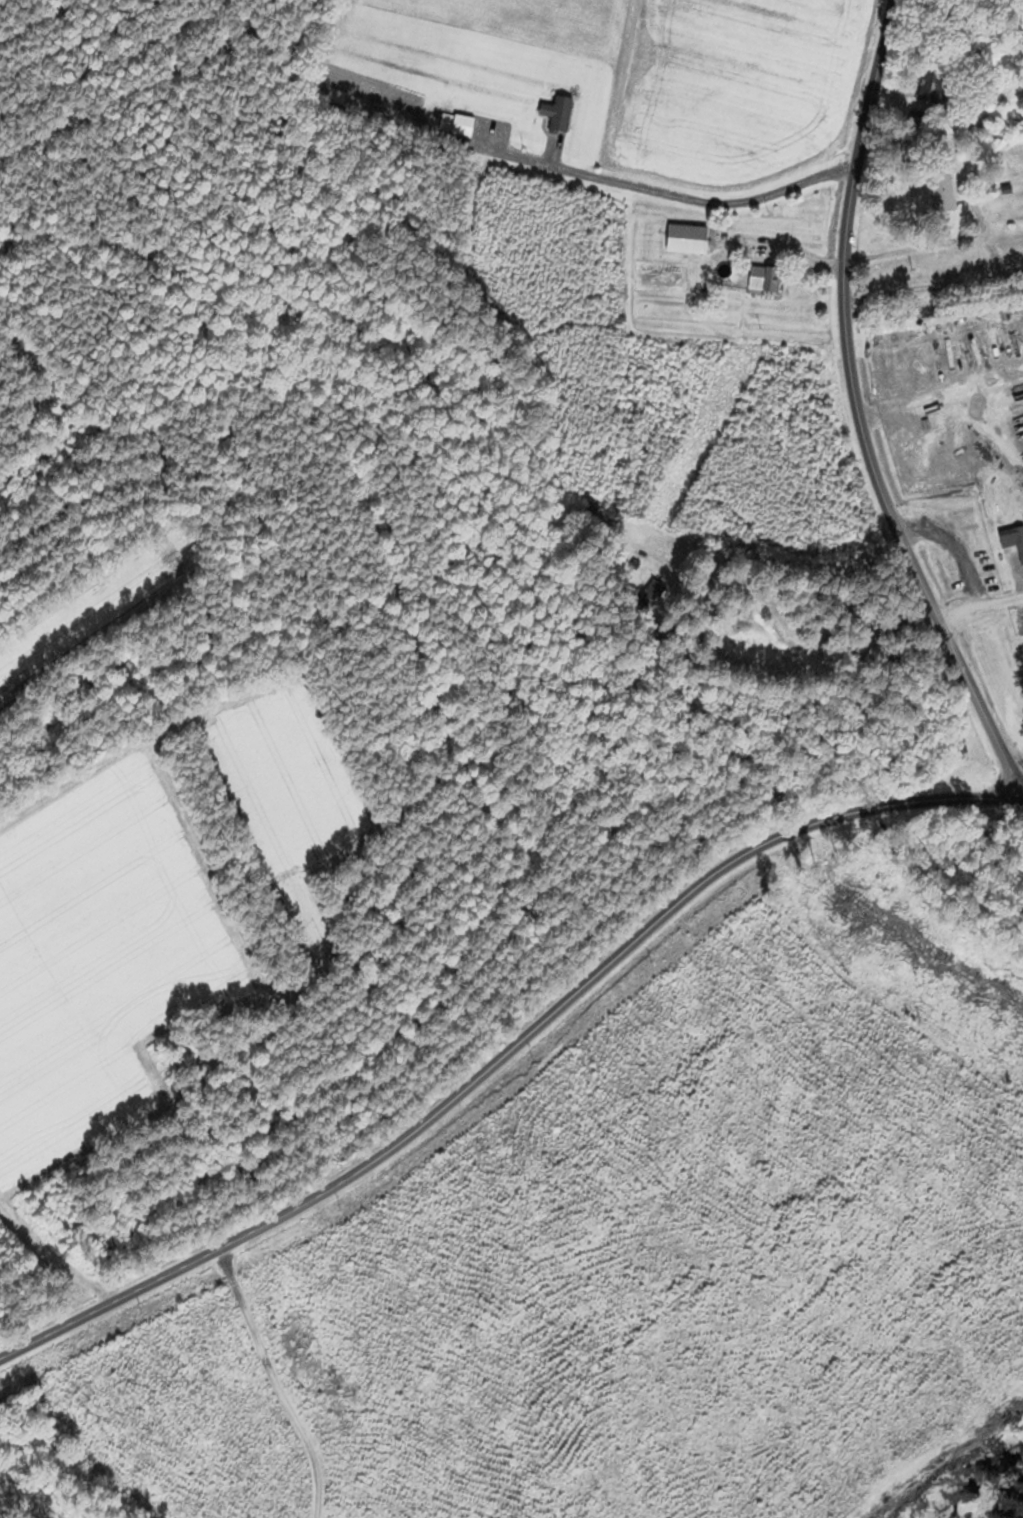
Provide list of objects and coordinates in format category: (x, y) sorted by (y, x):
building: (931, 88)
building: (560, 114)
building: (461, 126)
building: (941, 190)
road: (701, 201)
building: (762, 281)
road: (933, 289)
road: (855, 413)
building: (1011, 537)
building: (648, 594)
road: (980, 613)
road: (508, 1052)

